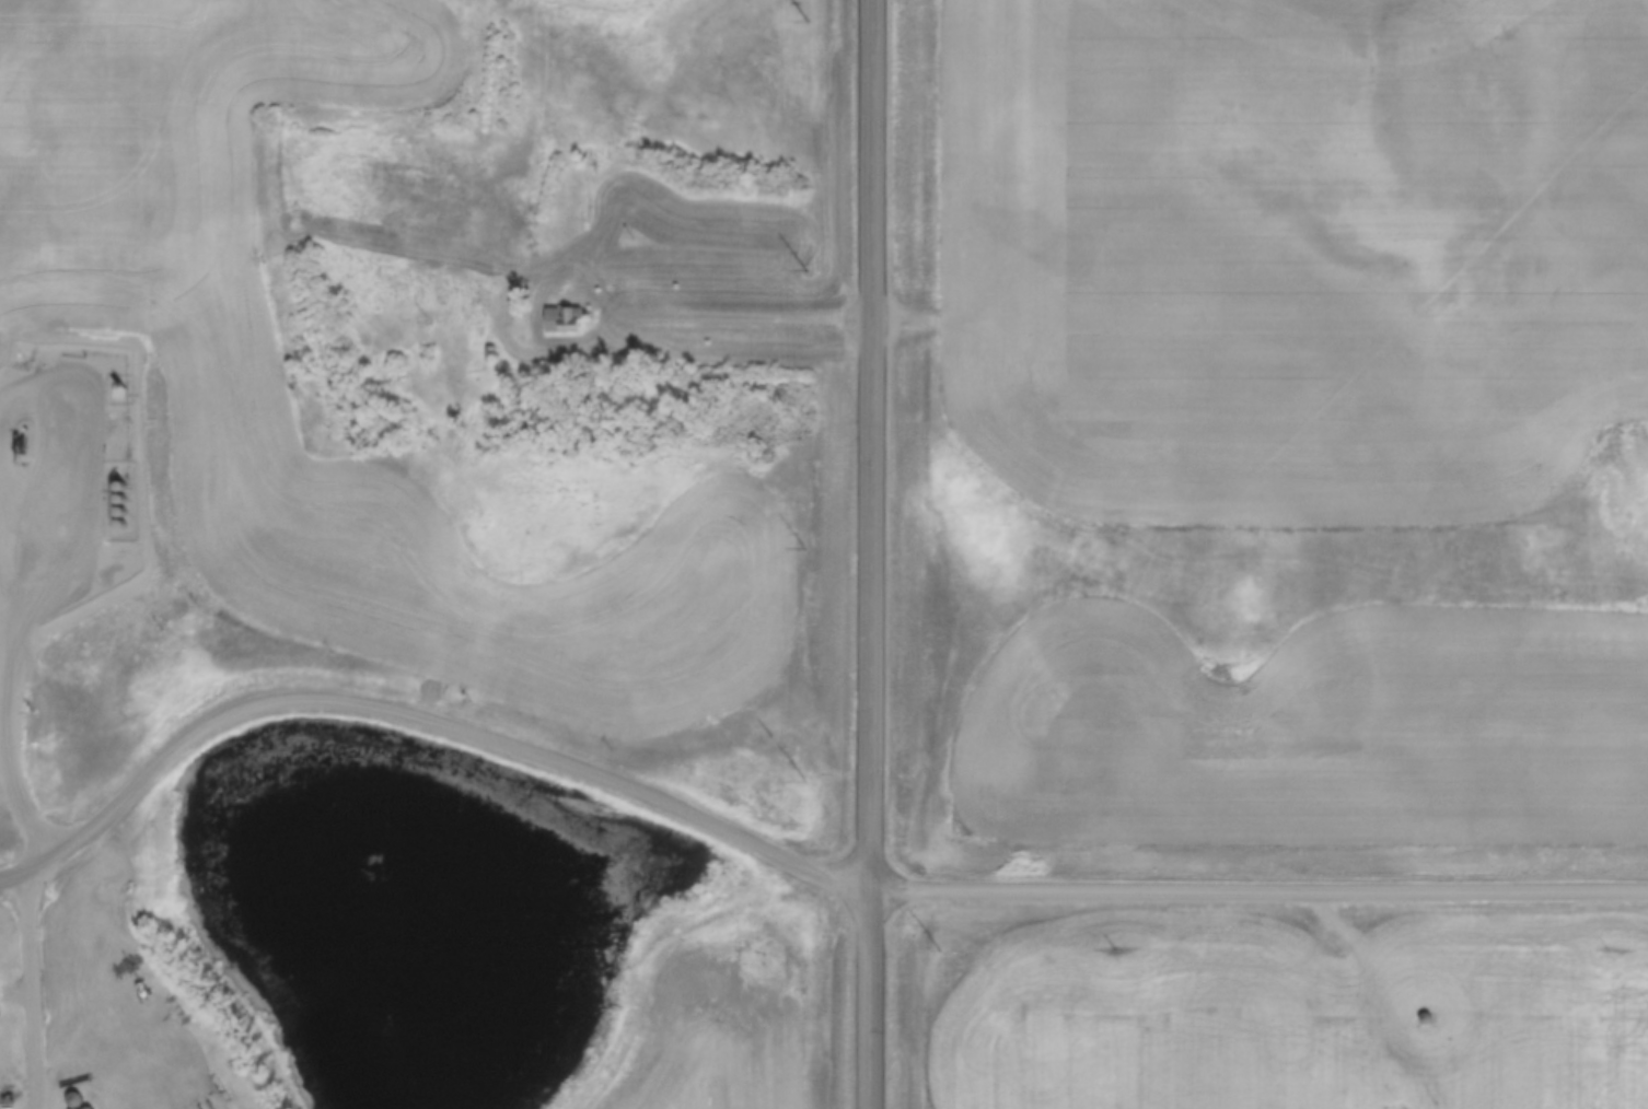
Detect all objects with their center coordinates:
road: (732, 322)
building: (762, 452)
road: (869, 553)
road: (780, 856)
road: (28, 990)
road: (100, 1053)
building: (3, 1099)

